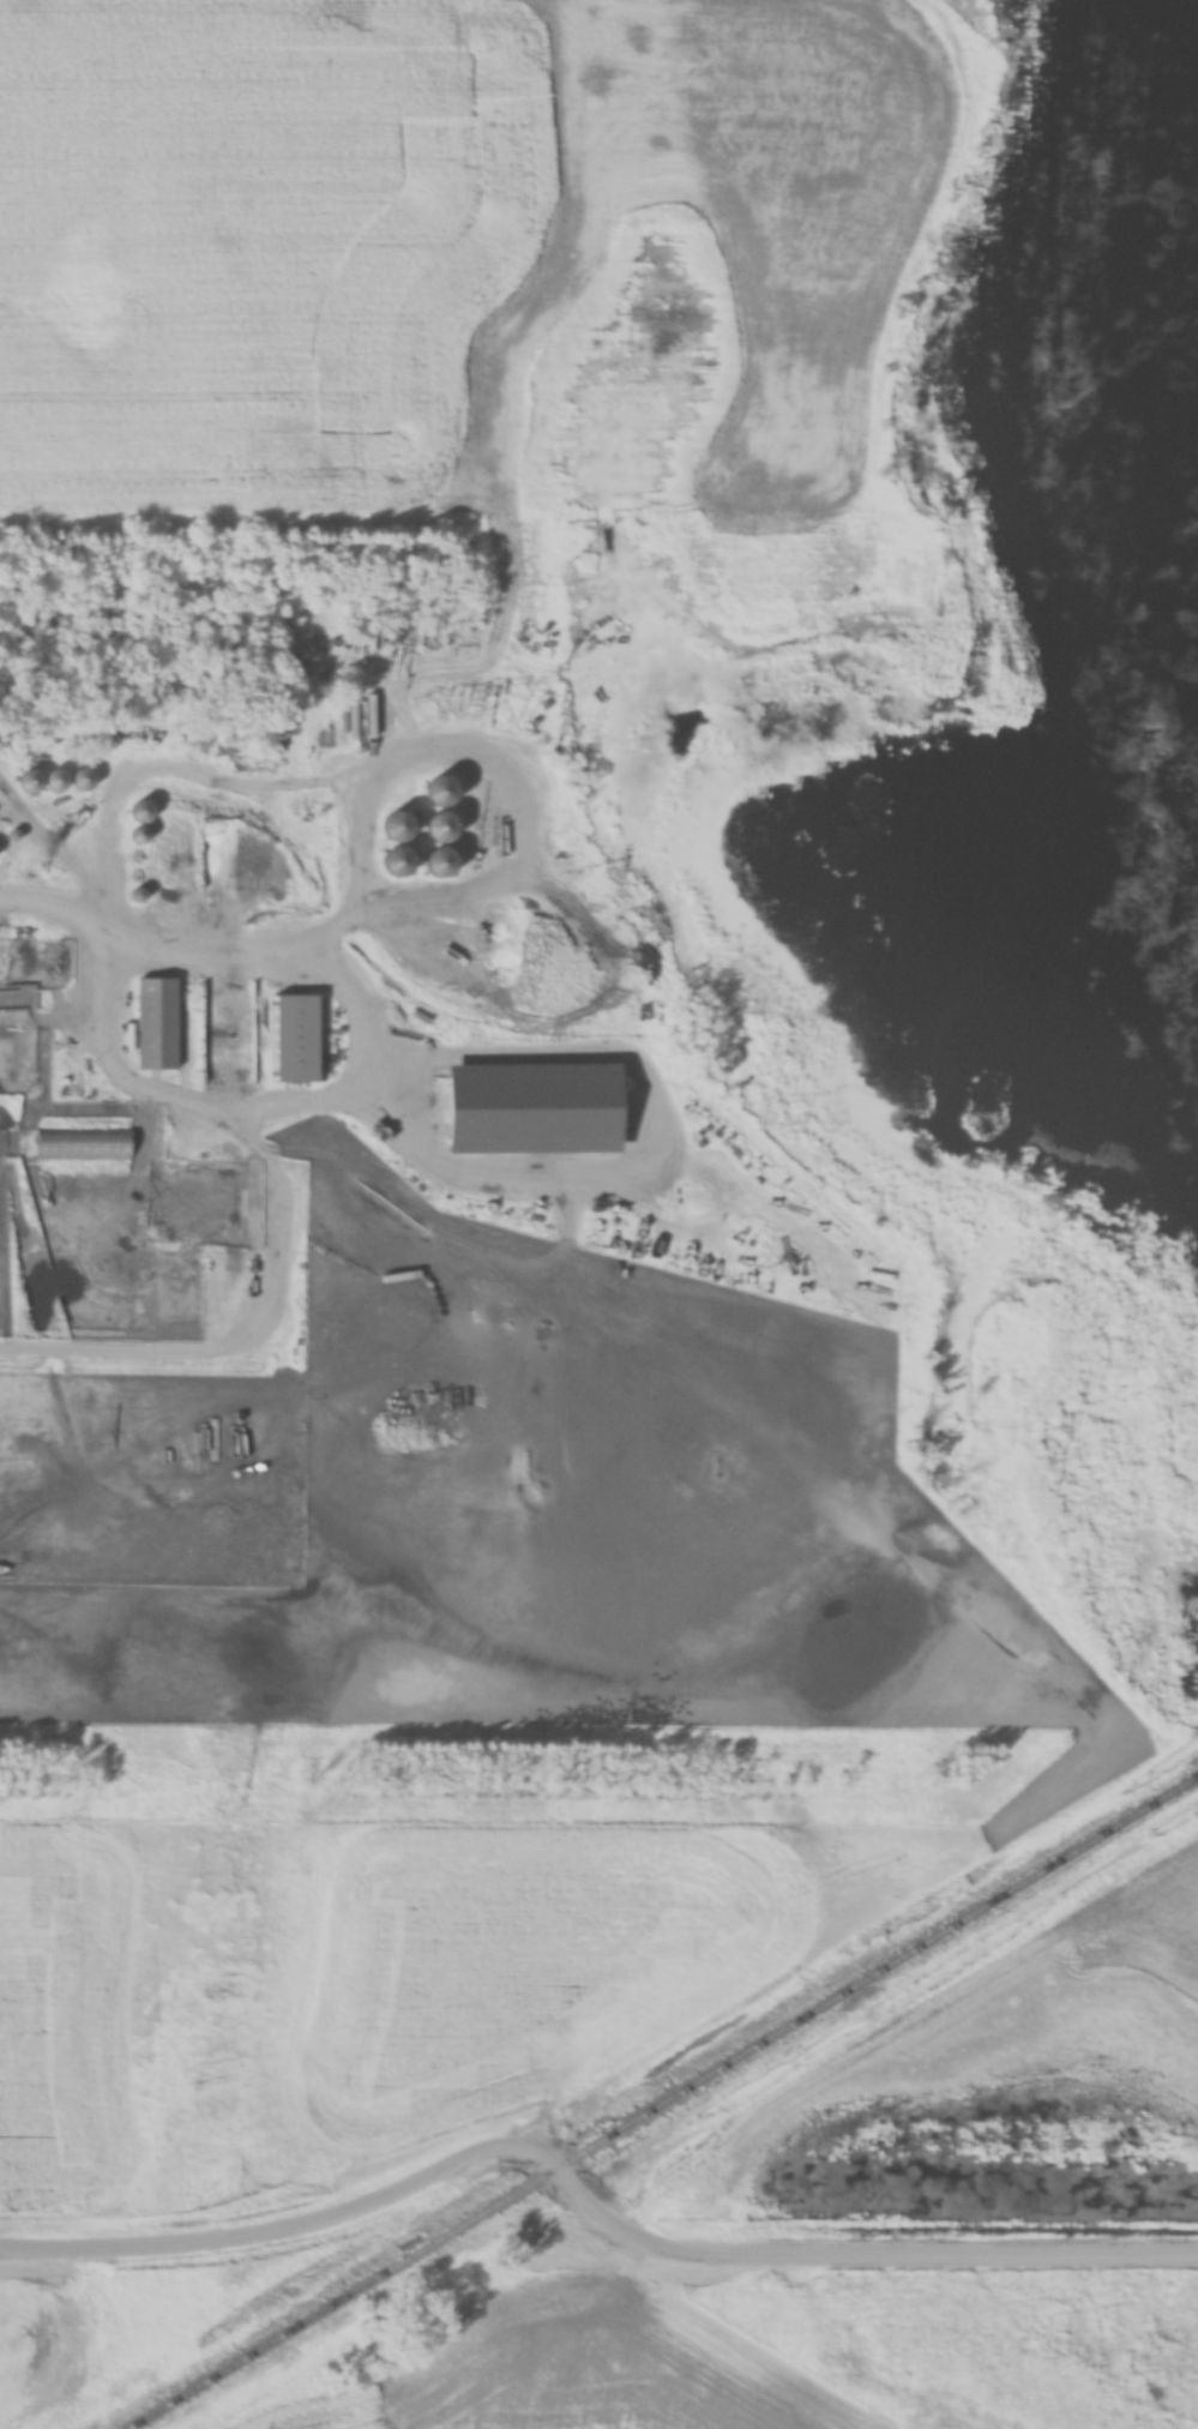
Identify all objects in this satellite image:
building: (80, 780)
building: (40, 782)
building: (434, 789)
building: (139, 812)
building: (391, 824)
building: (433, 824)
building: (390, 859)
building: (434, 860)
building: (158, 1020)
building: (299, 1033)
building: (534, 1104)
building: (91, 1138)
building: (104, 1448)
railway: (664, 2104)
road: (588, 2190)

